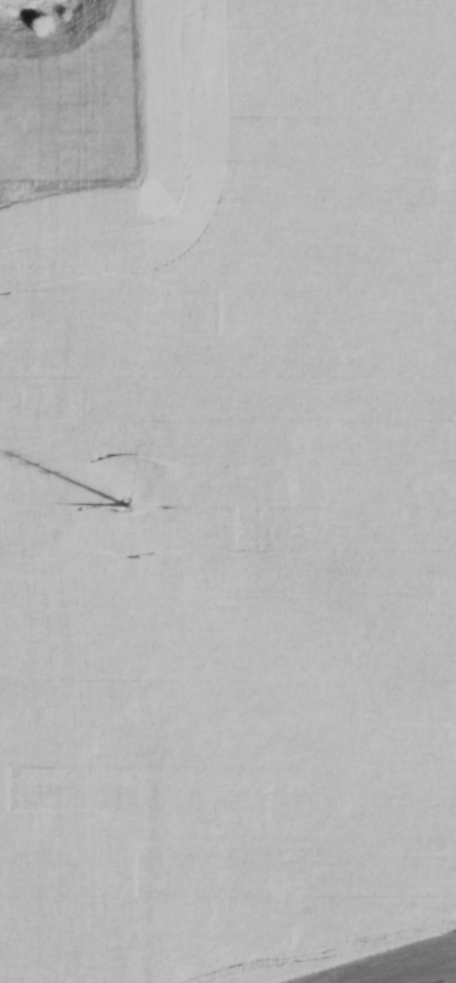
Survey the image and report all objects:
power tower: (127, 505)

